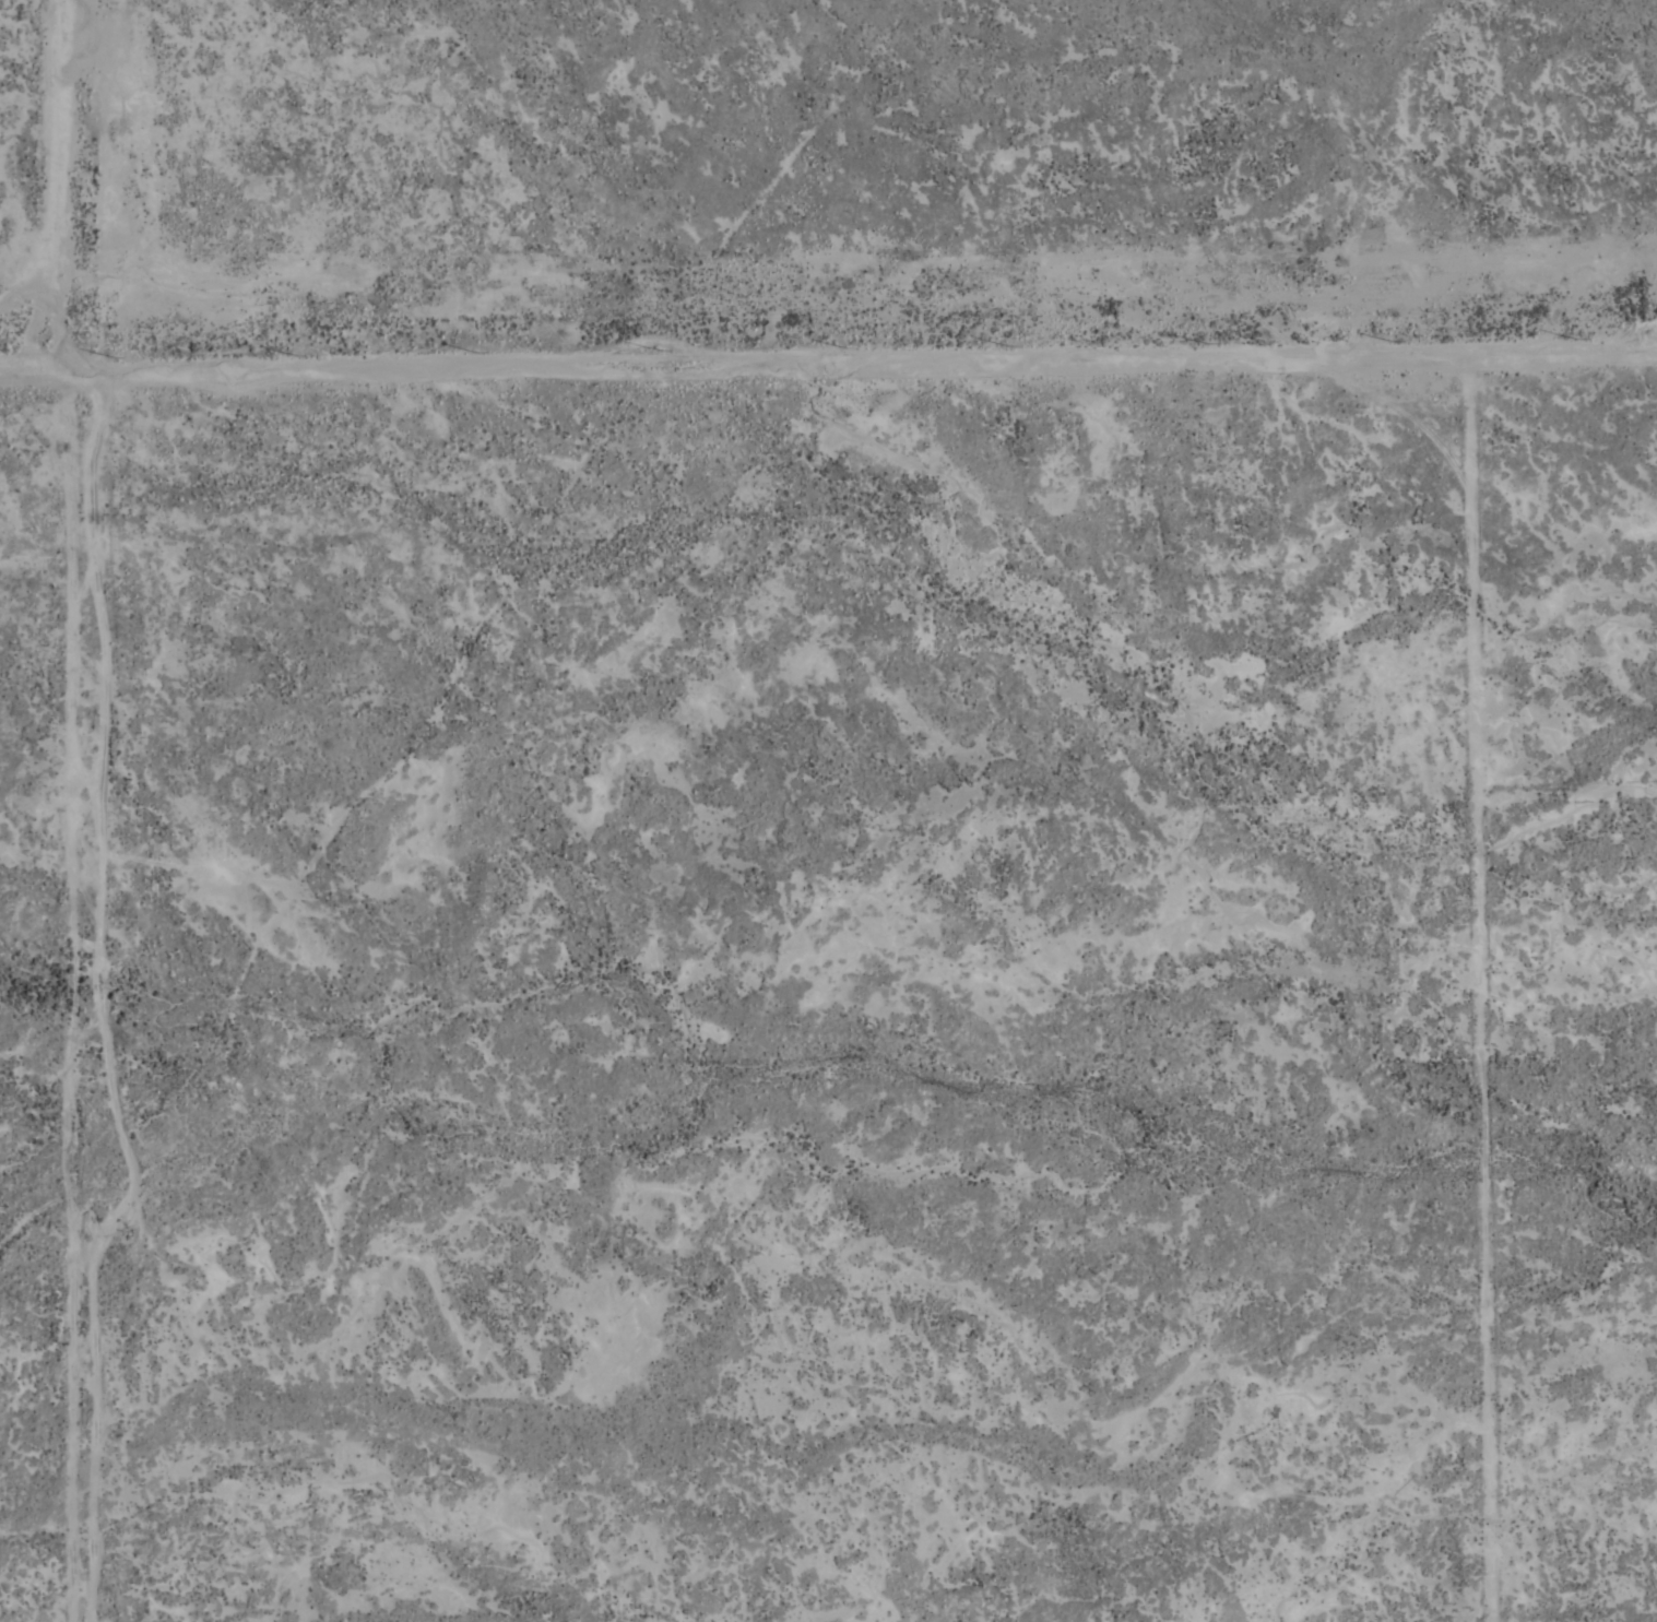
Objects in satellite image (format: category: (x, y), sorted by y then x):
road: (828, 339)
road: (94, 818)
crop: (57, 984)

